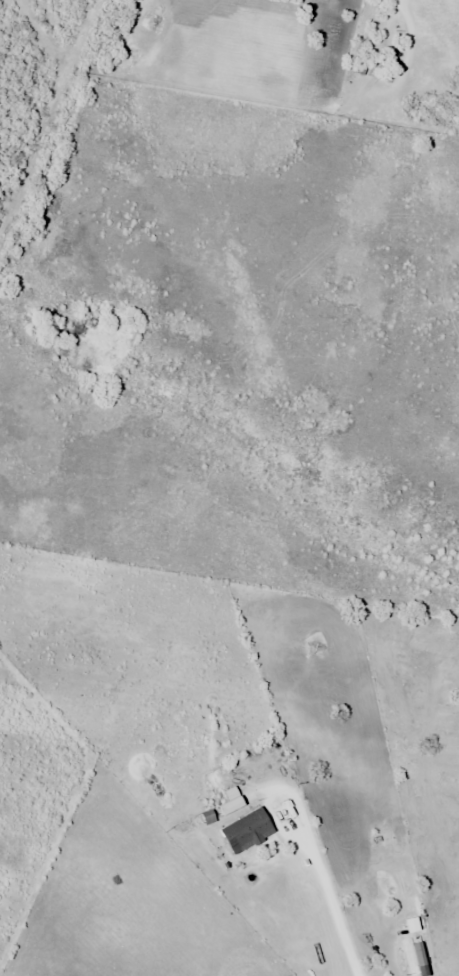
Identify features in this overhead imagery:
building: (232, 802)
building: (248, 829)

